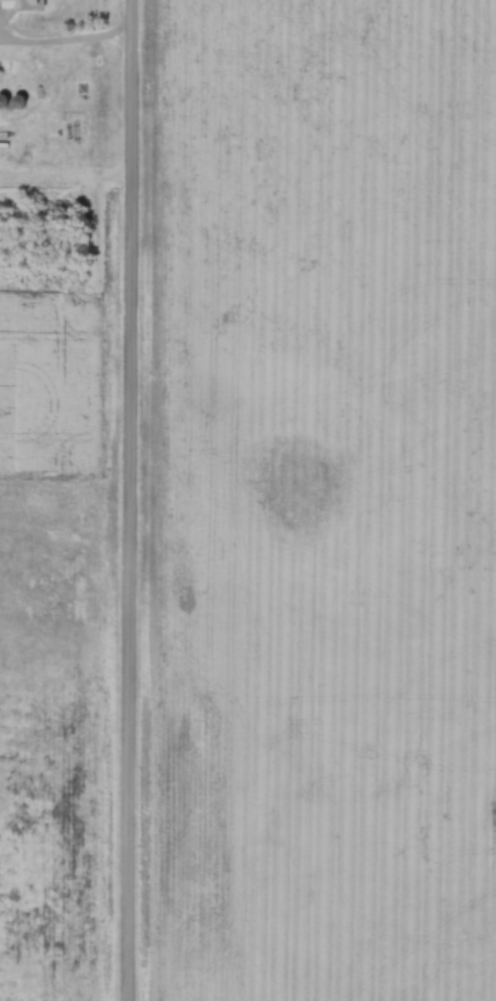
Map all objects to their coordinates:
building: (21, 5)
road: (119, 500)

